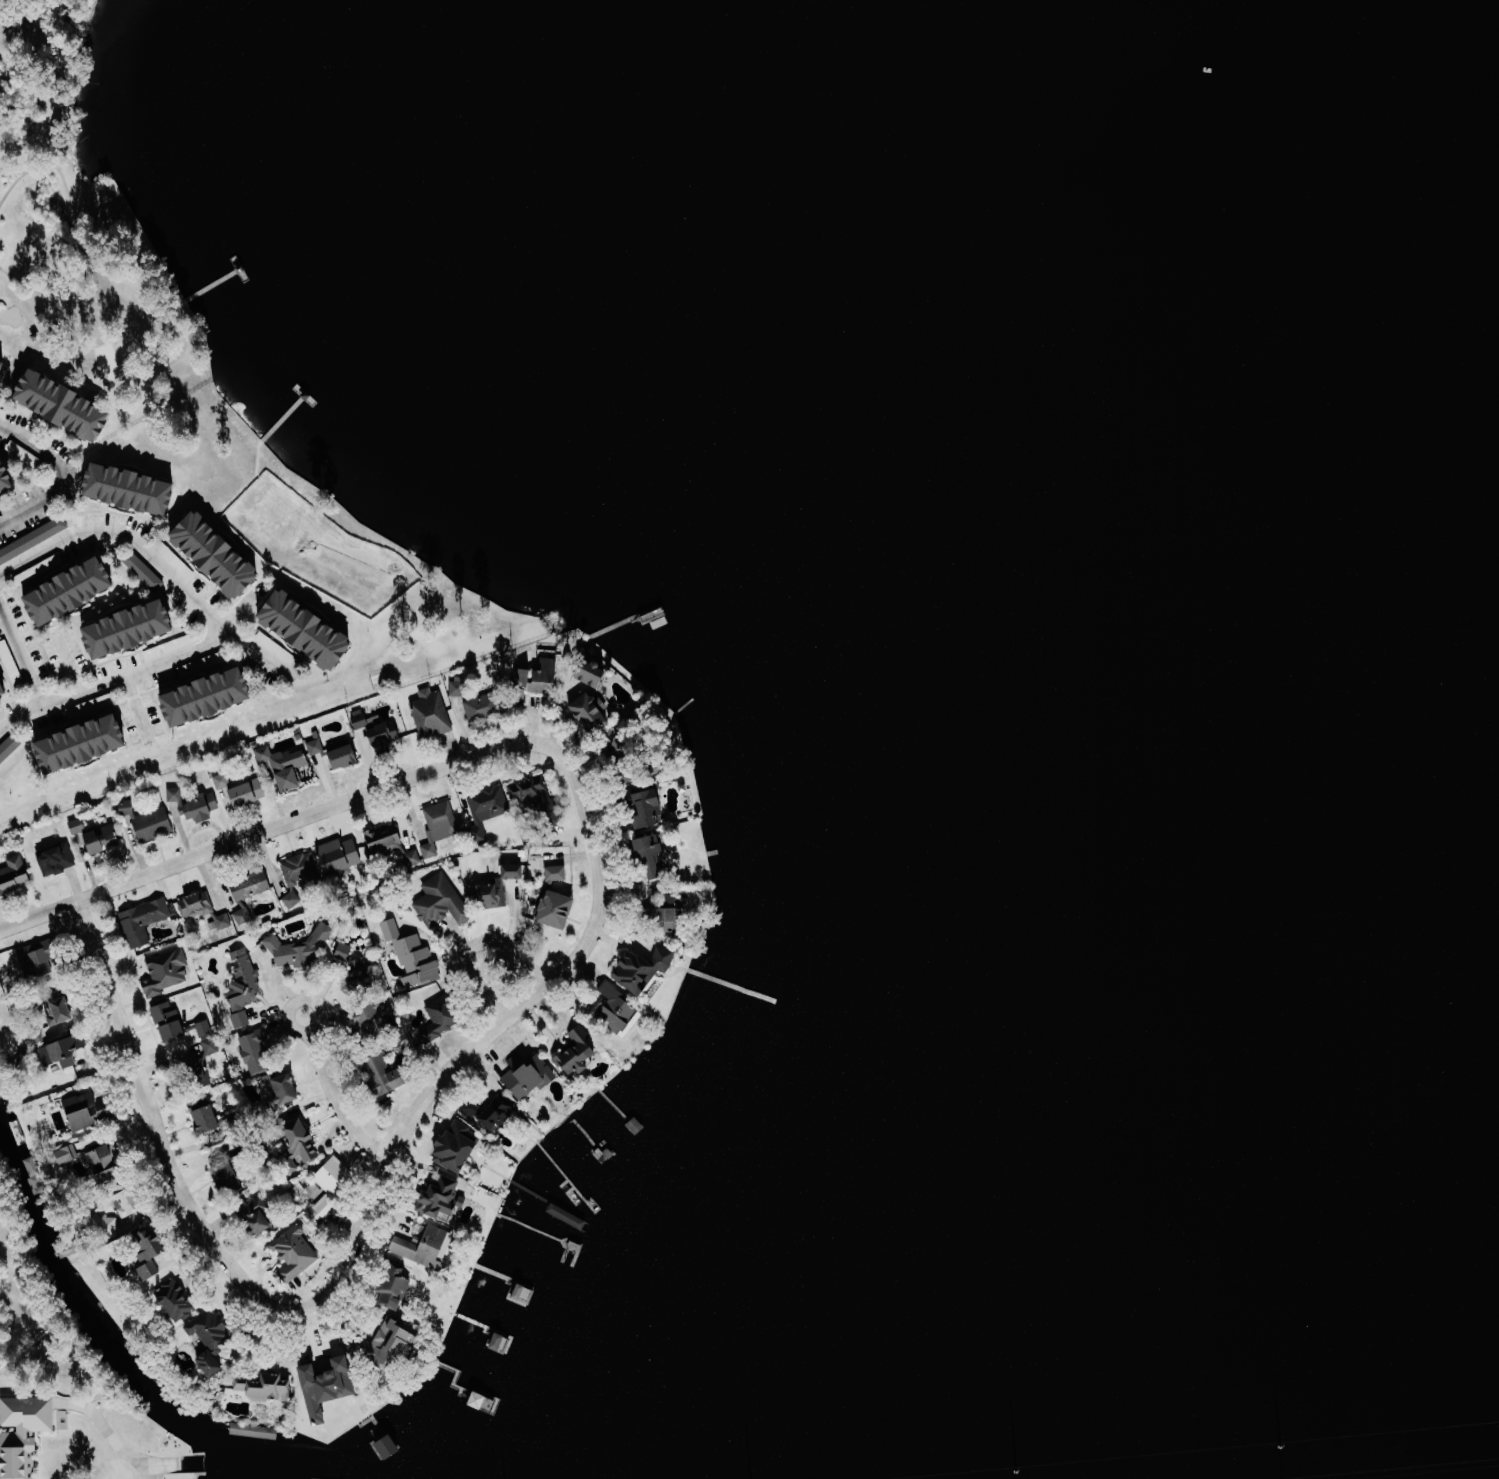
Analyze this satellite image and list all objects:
building: (5, 373)
building: (70, 406)
road: (58, 477)
building: (8, 478)
building: (136, 490)
building: (22, 546)
building: (222, 555)
road: (153, 560)
building: (142, 568)
building: (32, 573)
building: (70, 592)
building: (129, 630)
building: (313, 631)
building: (596, 673)
building: (459, 687)
road: (87, 688)
building: (2, 692)
building: (214, 698)
road: (136, 705)
building: (595, 709)
building: (432, 710)
building: (480, 710)
road: (18, 713)
building: (387, 734)
building: (82, 746)
building: (11, 747)
building: (317, 747)
building: (347, 756)
building: (289, 767)
building: (223, 780)
building: (540, 791)
building: (251, 792)
building: (195, 804)
building: (651, 808)
building: (488, 809)
road: (328, 812)
building: (154, 823)
building: (440, 825)
building: (79, 827)
building: (101, 838)
building: (393, 847)
building: (652, 853)
building: (341, 856)
building: (58, 859)
building: (516, 870)
building: (558, 873)
building: (13, 874)
building: (301, 880)
building: (253, 886)
building: (494, 890)
building: (442, 901)
building: (561, 908)
building: (204, 909)
building: (669, 915)
building: (145, 920)
building: (324, 931)
road: (477, 949)
building: (291, 952)
building: (414, 956)
building: (37, 958)
building: (645, 968)
building: (358, 969)
building: (169, 973)
building: (56, 1007)
building: (619, 1014)
building: (364, 1016)
building: (441, 1018)
building: (171, 1021)
building: (208, 1037)
building: (258, 1050)
building: (68, 1051)
building: (578, 1054)
building: (402, 1075)
building: (529, 1075)
building: (283, 1088)
road: (343, 1097)
building: (86, 1112)
building: (496, 1112)
road: (414, 1114)
building: (209, 1118)
road: (165, 1132)
building: (303, 1140)
building: (459, 1146)
building: (64, 1155)
building: (107, 1163)
building: (228, 1180)
building: (336, 1180)
building: (445, 1195)
building: (132, 1203)
building: (266, 1219)
building: (112, 1221)
building: (154, 1244)
building: (297, 1255)
building: (150, 1271)
building: (524, 1294)
building: (199, 1323)
building: (402, 1337)
building: (331, 1386)
building: (269, 1388)
building: (242, 1428)
building: (22, 1433)
road: (143, 1468)

